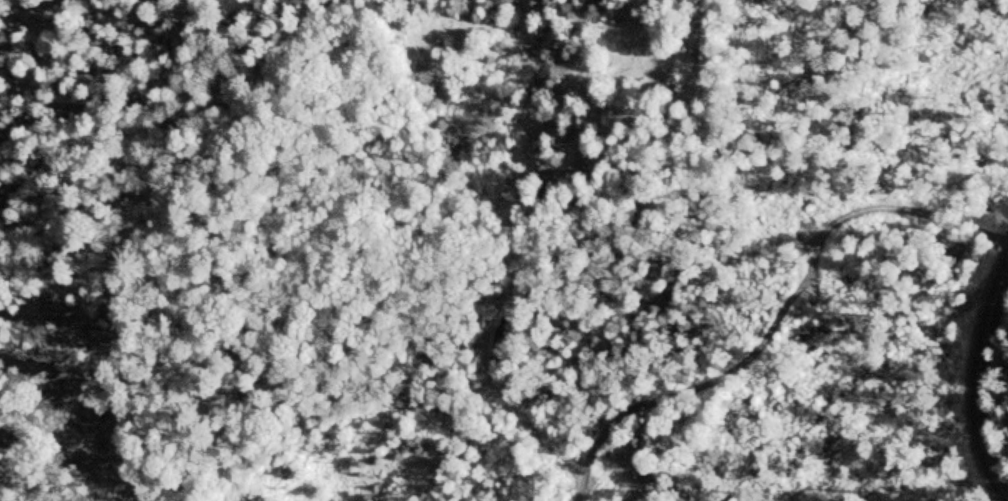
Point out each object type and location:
road: (746, 341)
road: (976, 376)

